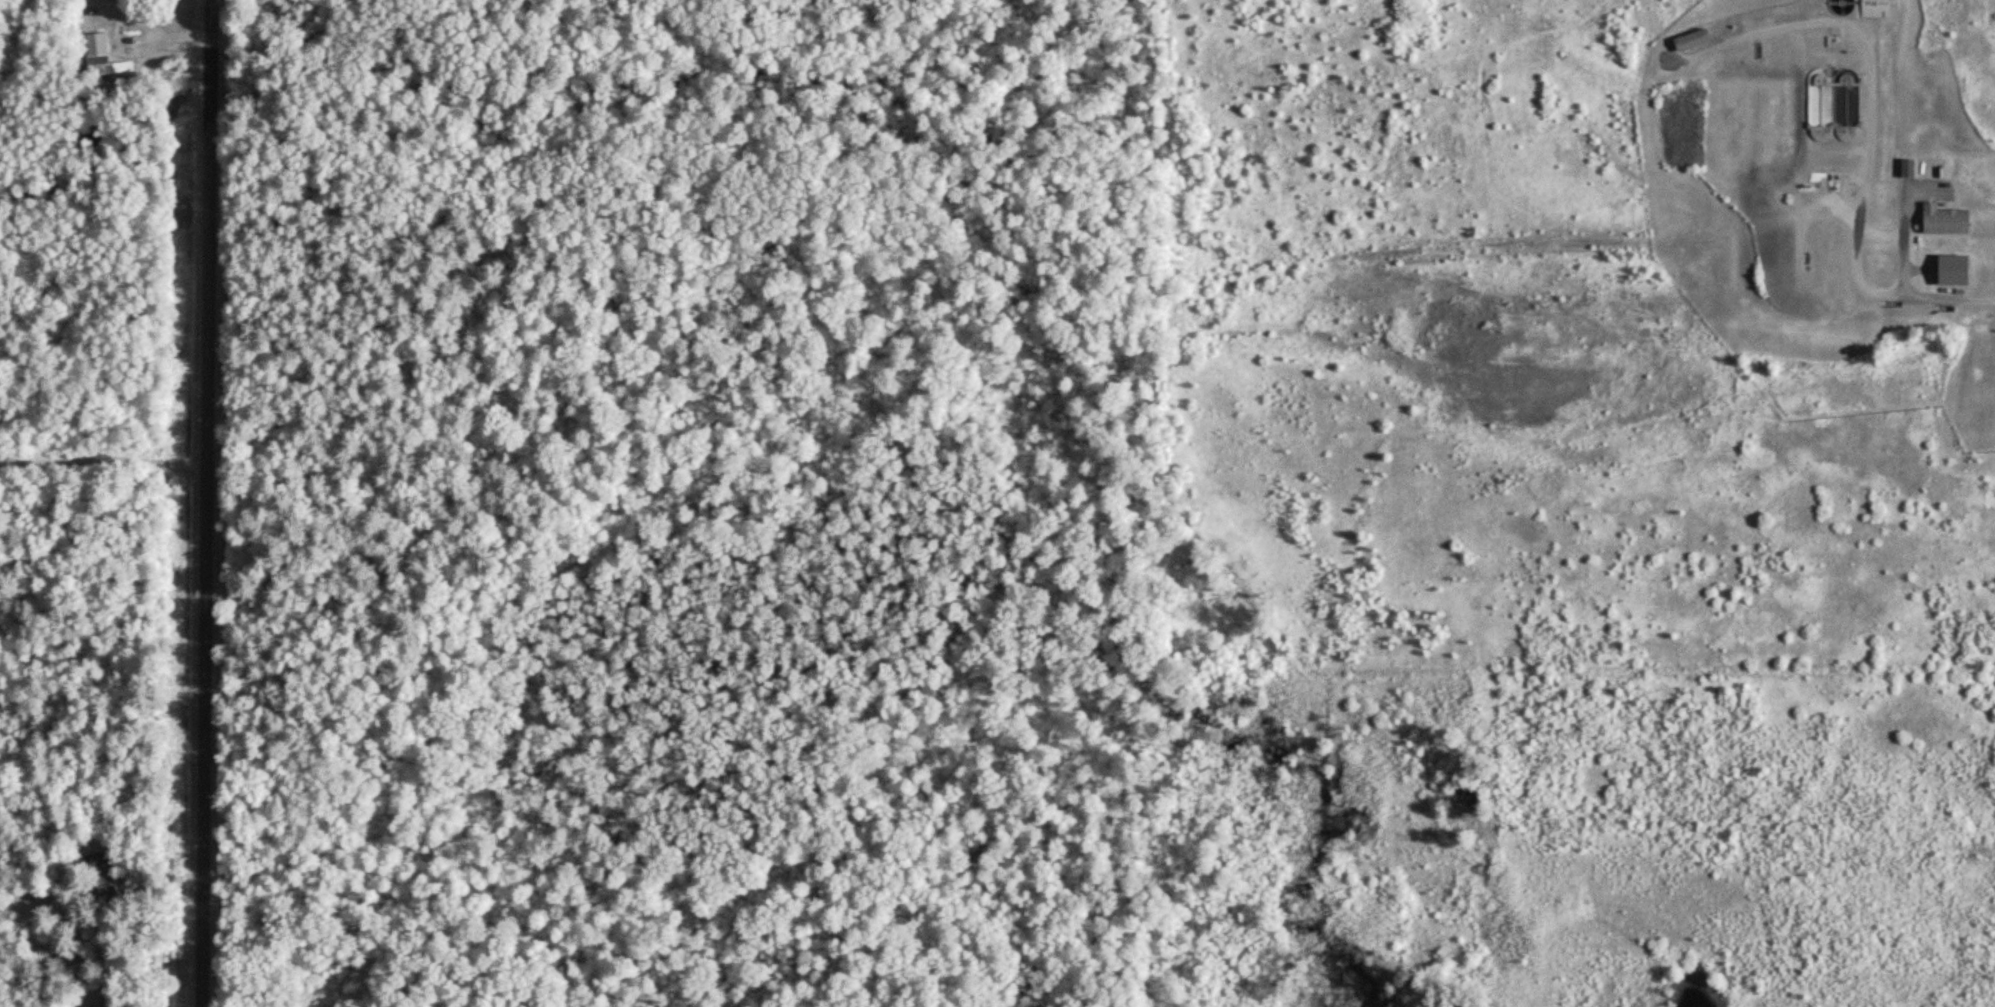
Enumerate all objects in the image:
road: (106, 41)
building: (1697, 41)
building: (114, 69)
building: (1950, 220)
road: (104, 462)
road: (209, 503)
building: (106, 872)
building: (73, 958)

